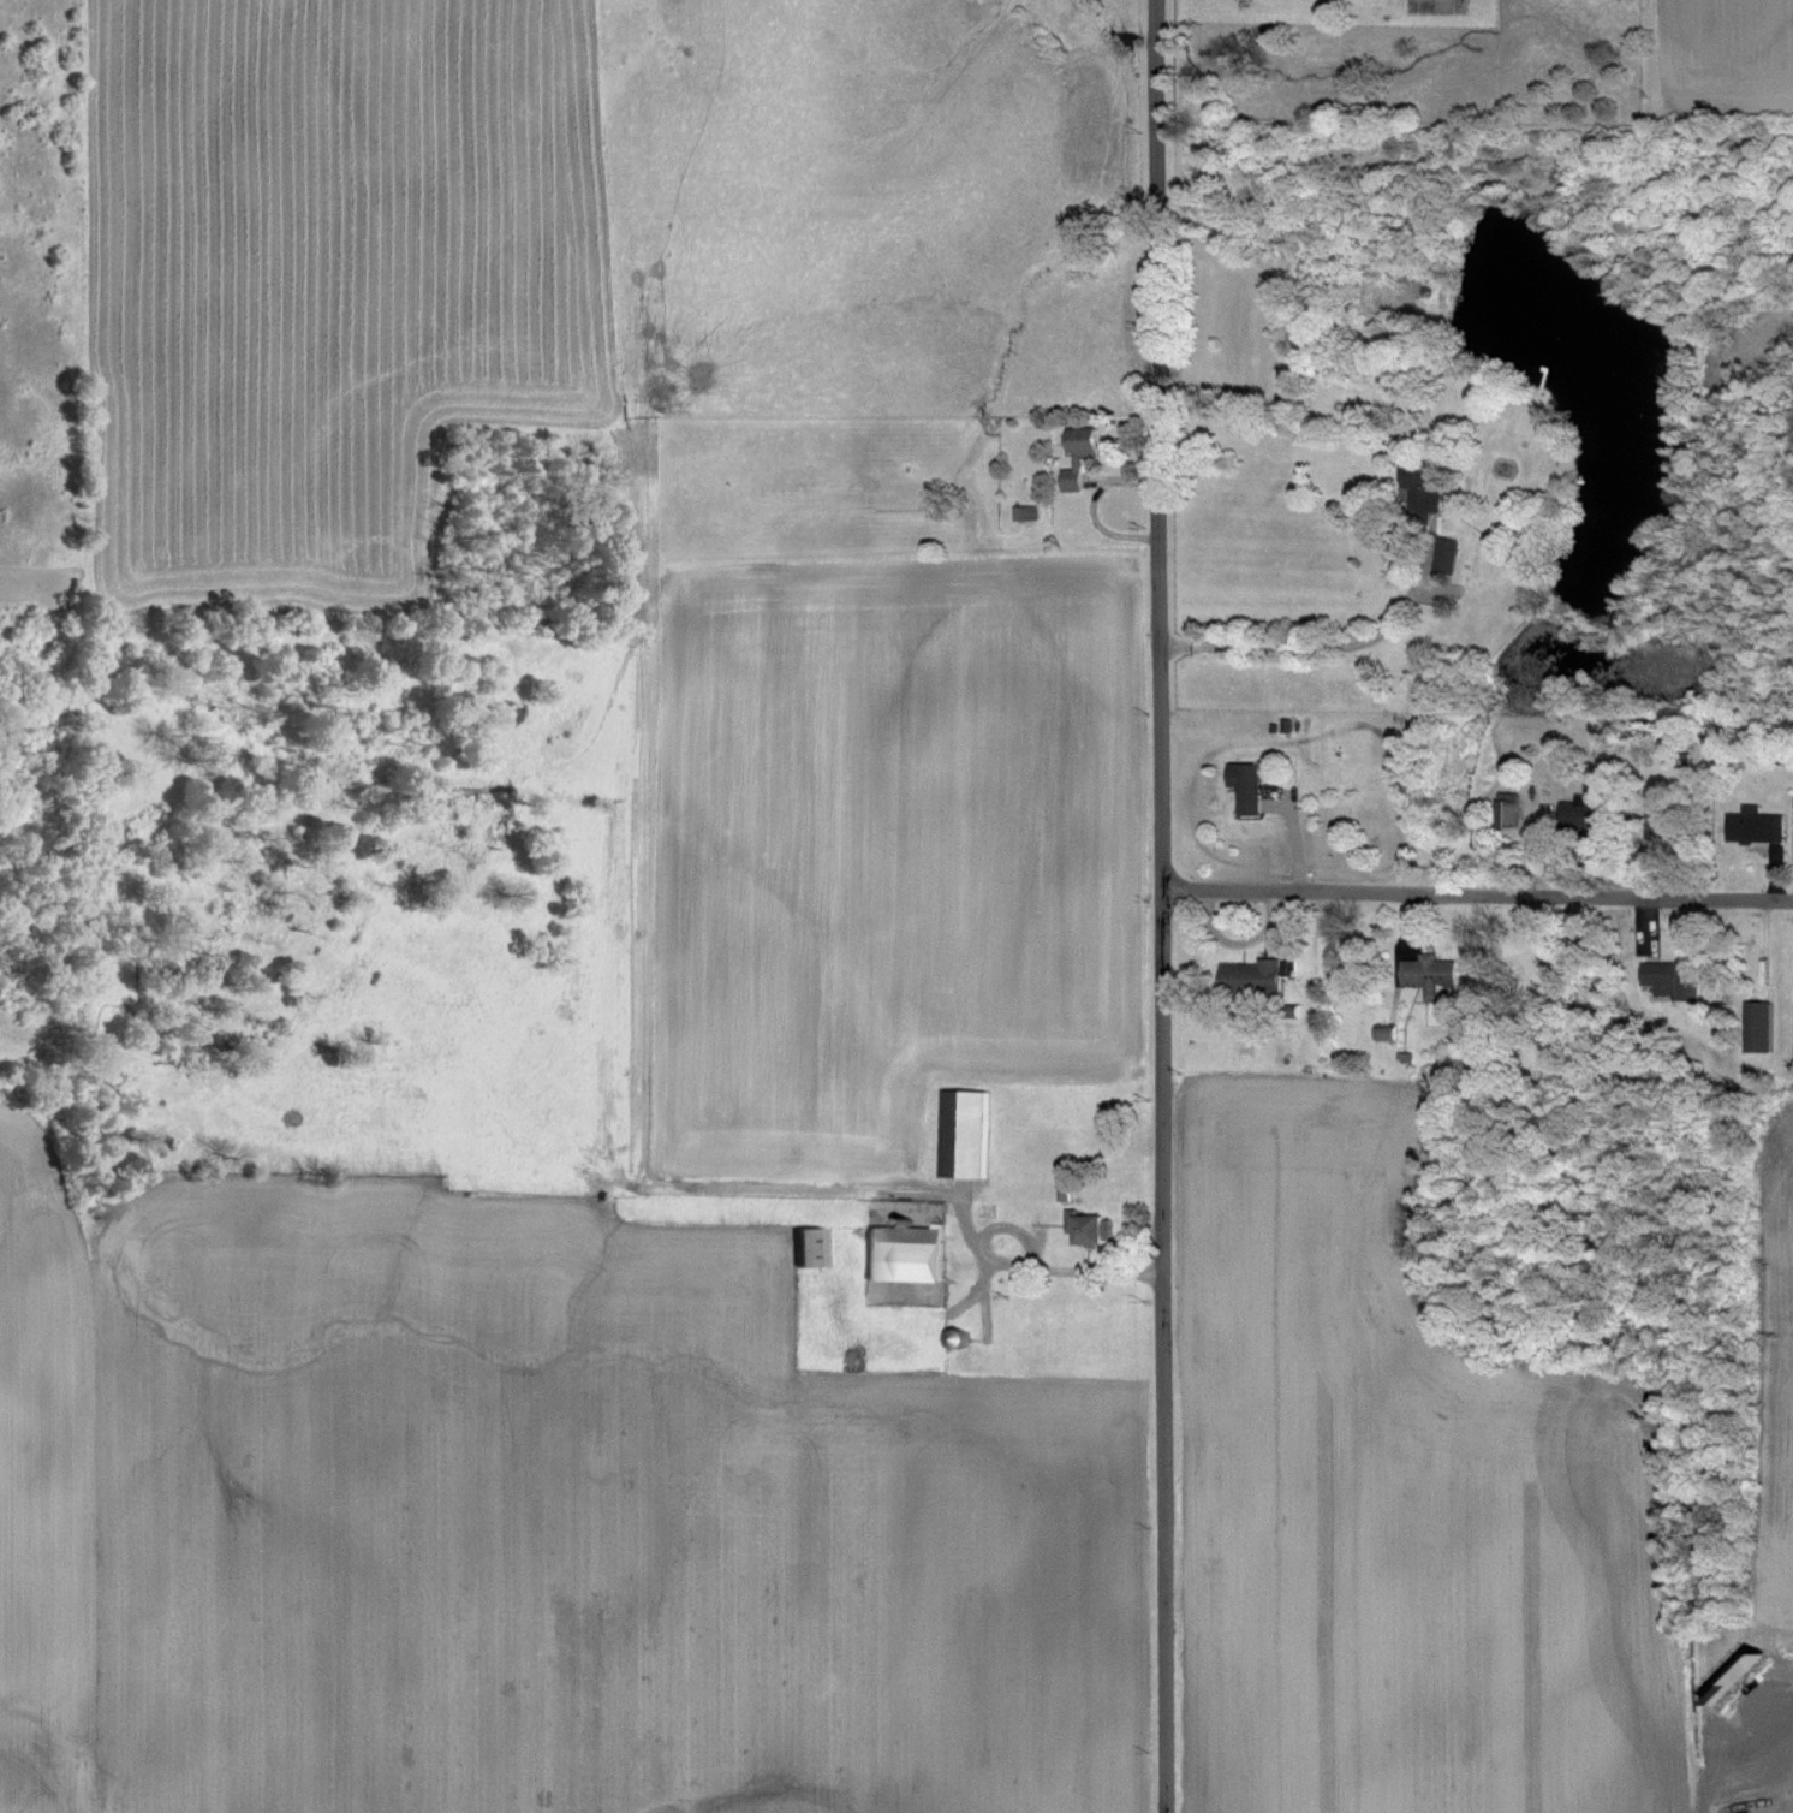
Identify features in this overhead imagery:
building: (1079, 458)
building: (1419, 494)
building: (1446, 557)
road: (1307, 648)
building: (1243, 787)
building: (1506, 810)
building: (1756, 827)
road: (1478, 896)
road: (1163, 905)
building: (1428, 975)
building: (1249, 976)
building: (1670, 980)
building: (1756, 1027)
building: (961, 1135)
building: (1086, 1229)
building: (804, 1248)
building: (904, 1254)
road: (1033, 1254)
parking lot: (1761, 1783)
road: (1787, 1811)

